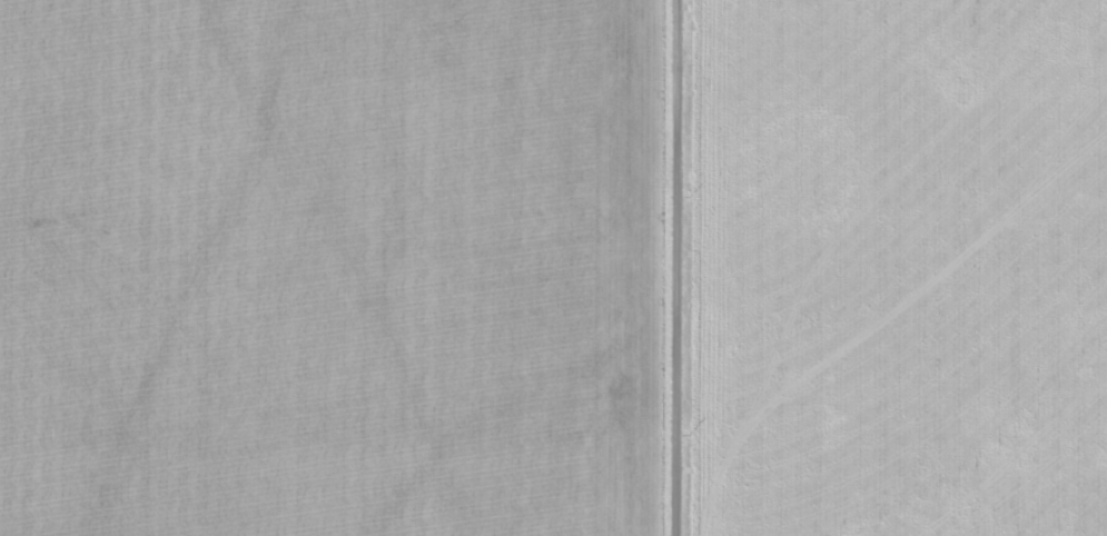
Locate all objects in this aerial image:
road: (704, 268)

